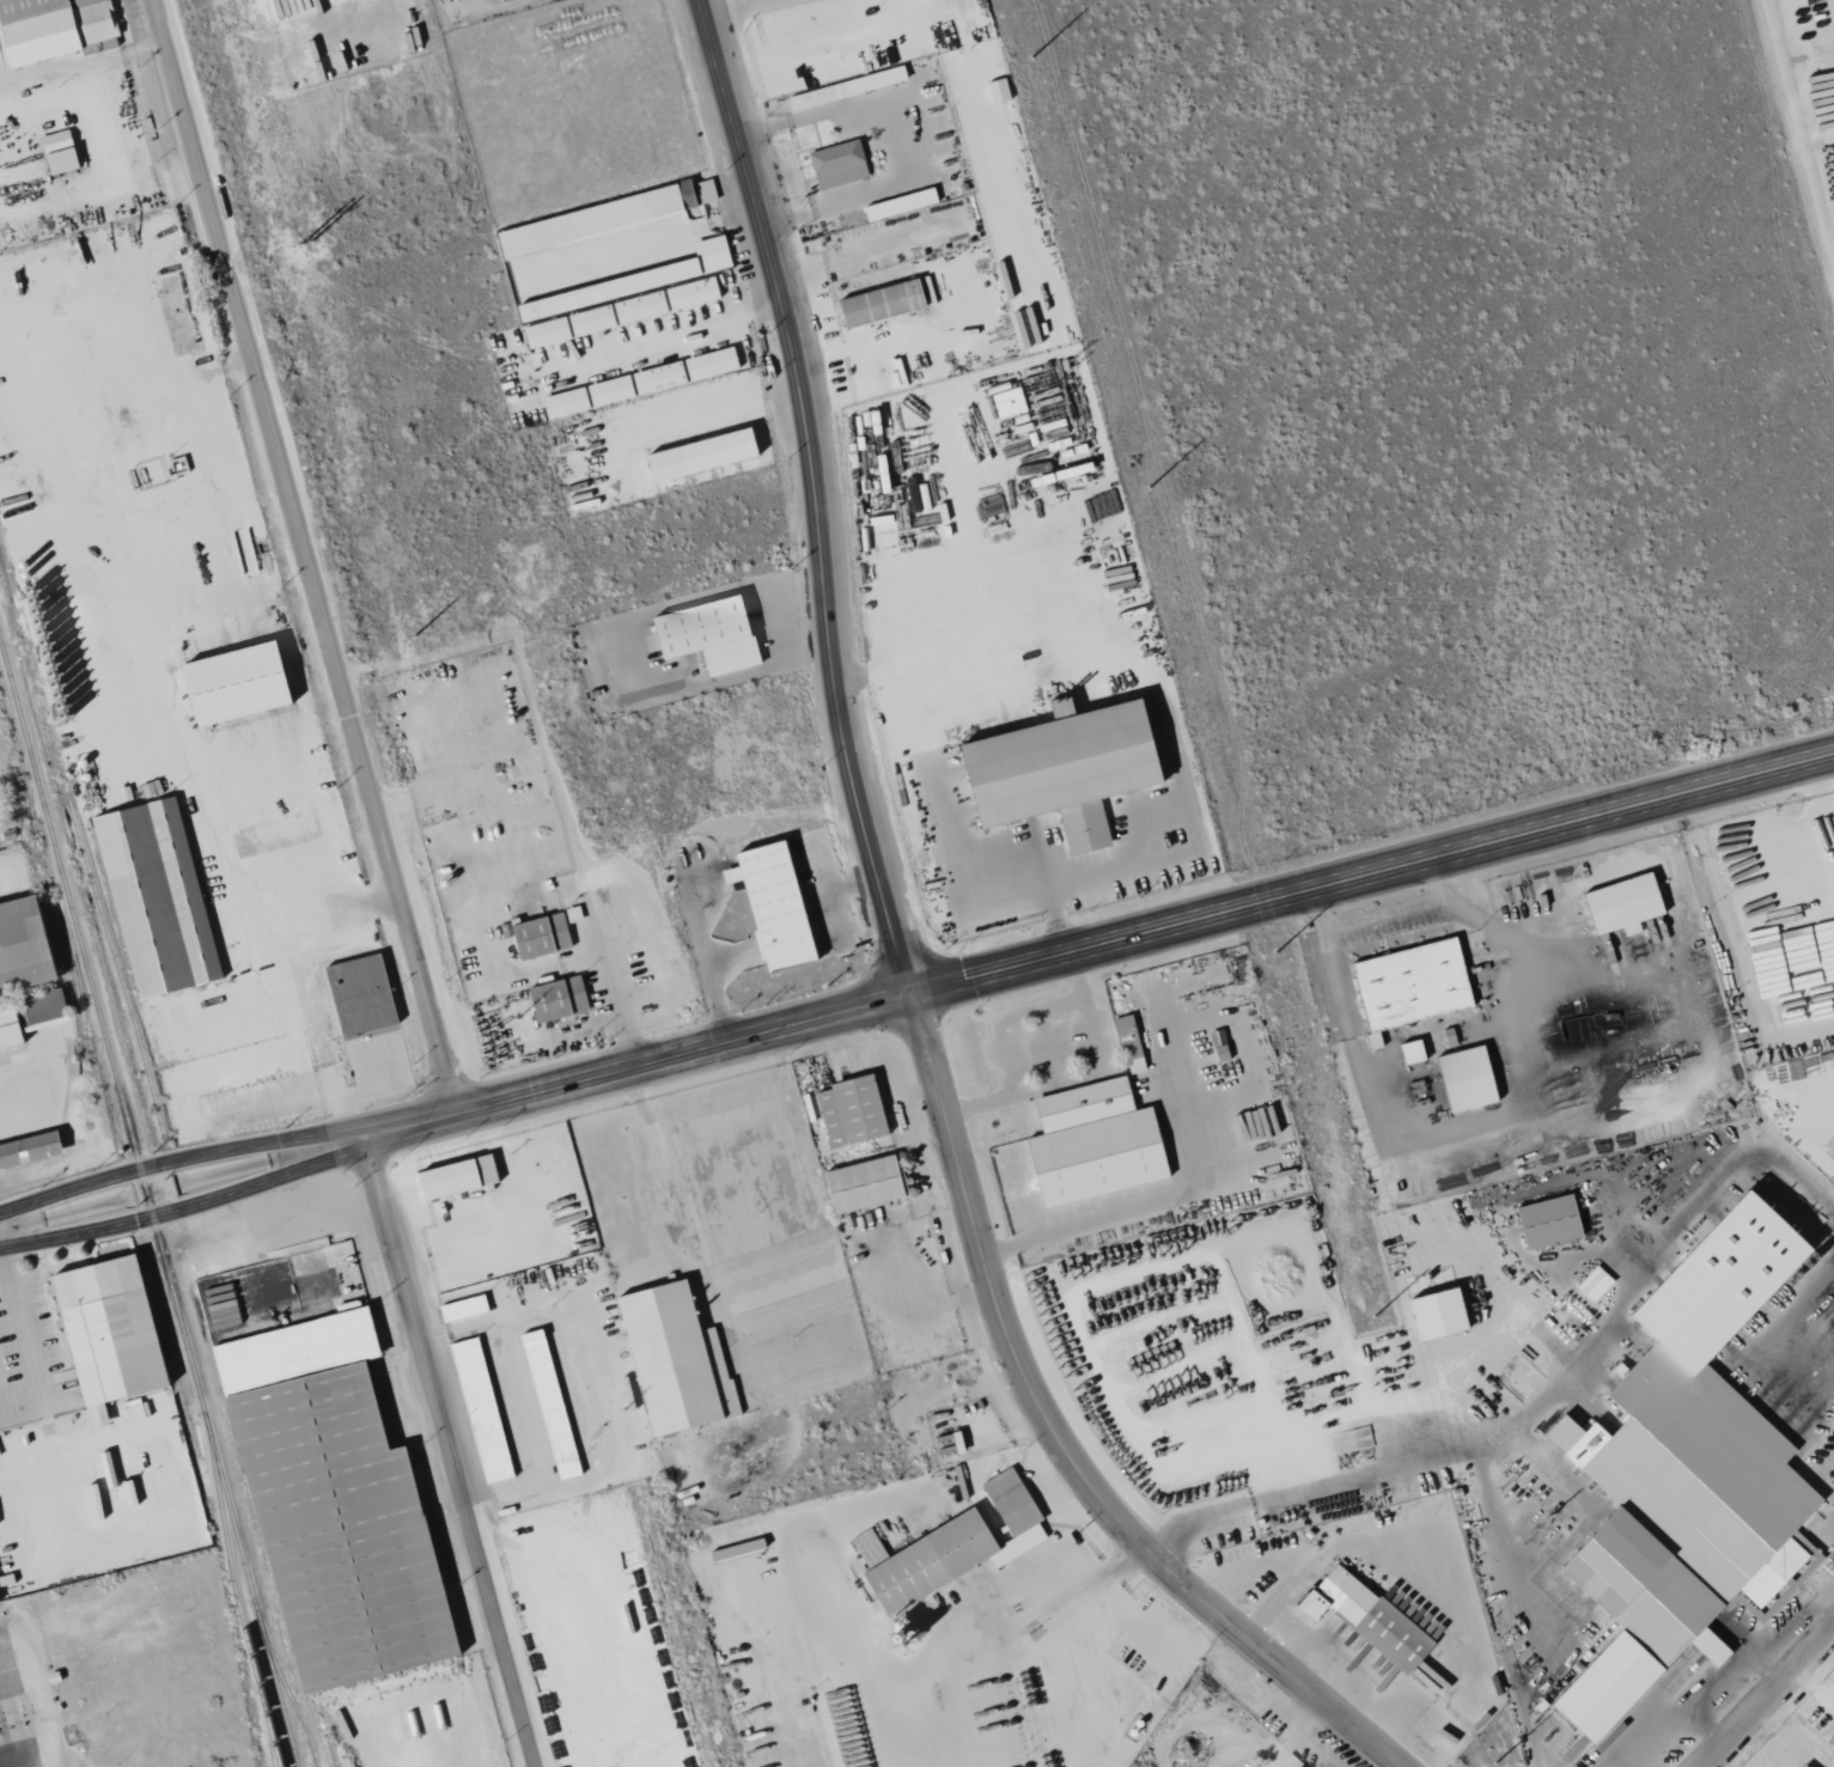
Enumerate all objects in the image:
road: (735, 10)
building: (50, 28)
power tower: (1031, 57)
building: (846, 87)
building: (997, 90)
road: (919, 134)
building: (57, 152)
building: (836, 164)
building: (694, 191)
building: (898, 203)
building: (586, 221)
power tower: (307, 240)
building: (630, 281)
building: (664, 299)
building: (878, 303)
building: (567, 327)
building: (641, 382)
building: (697, 455)
power tower: (1148, 488)
road: (305, 556)
building: (705, 634)
power tower: (414, 635)
road: (788, 645)
building: (231, 683)
building: (1058, 769)
railway: (25, 782)
road: (1820, 811)
road: (948, 818)
railway: (79, 840)
building: (154, 897)
building: (1620, 903)
building: (769, 904)
road: (352, 909)
railway: (51, 927)
building: (538, 936)
building: (20, 948)
road: (1097, 948)
power tower: (1274, 953)
road: (906, 958)
building: (1409, 982)
road: (615, 983)
building: (358, 995)
building: (555, 999)
power tower: (518, 1018)
building: (7, 1028)
railway: (84, 1040)
building: (1127, 1043)
building: (1217, 1046)
building: (1463, 1078)
building: (848, 1110)
building: (1091, 1143)
building: (28, 1150)
road: (177, 1159)
building: (452, 1177)
building: (860, 1183)
railway: (150, 1202)
road: (184, 1207)
building: (1546, 1221)
building: (1594, 1282)
railway: (191, 1286)
building: (461, 1308)
building: (1434, 1314)
power tower: (1373, 1317)
building: (104, 1333)
road: (29, 1343)
building: (672, 1359)
road: (1555, 1396)
building: (548, 1403)
building: (479, 1409)
power tower: (624, 1410)
building: (946, 1444)
road: (452, 1451)
building: (1681, 1474)
building: (330, 1505)
building: (955, 1547)
building: (867, 1548)
railway: (237, 1602)
road: (1044, 1609)
building: (1364, 1617)
road: (1814, 1688)
railway: (291, 1698)
road: (1769, 1699)
road: (41, 1701)
road: (1698, 1717)
road: (1792, 1738)
railway: (270, 1741)
power tower: (1495, 1763)
building: (1297, 1766)
building: (1801, 1766)

